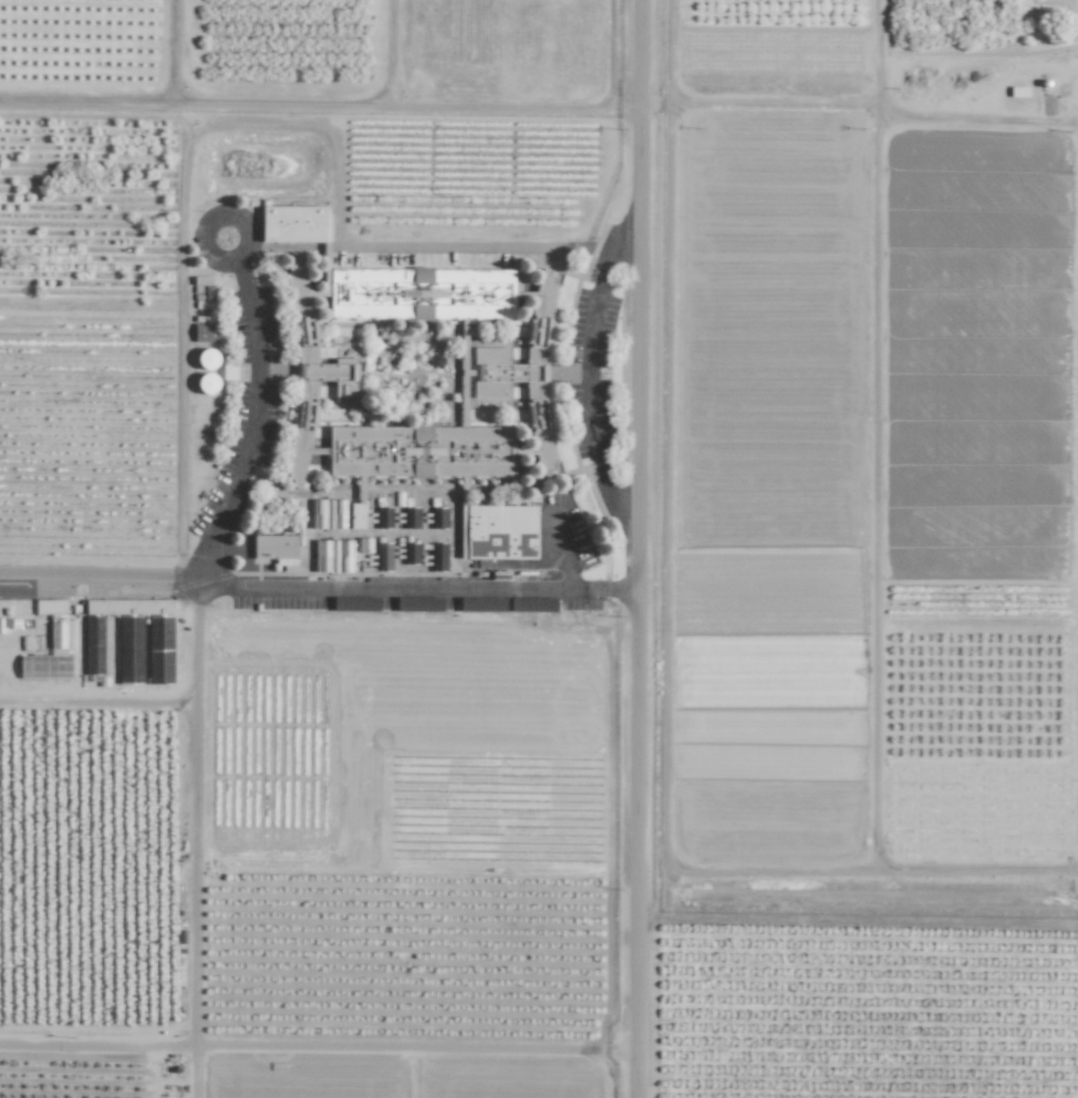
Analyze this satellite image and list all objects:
building: (1018, 91)
road: (861, 104)
road: (94, 116)
road: (201, 118)
road: (238, 220)
building: (292, 224)
building: (200, 280)
building: (204, 332)
building: (206, 359)
road: (589, 371)
building: (422, 374)
road: (257, 423)
road: (873, 435)
building: (499, 531)
building: (379, 535)
building: (273, 548)
road: (642, 549)
road: (320, 584)
building: (96, 605)
building: (12, 612)
crop: (290, 622)
building: (50, 645)
building: (97, 662)
road: (97, 696)
road: (859, 872)
road: (194, 909)
road: (397, 1046)
road: (621, 1050)
road: (194, 1069)
road: (601, 1074)

